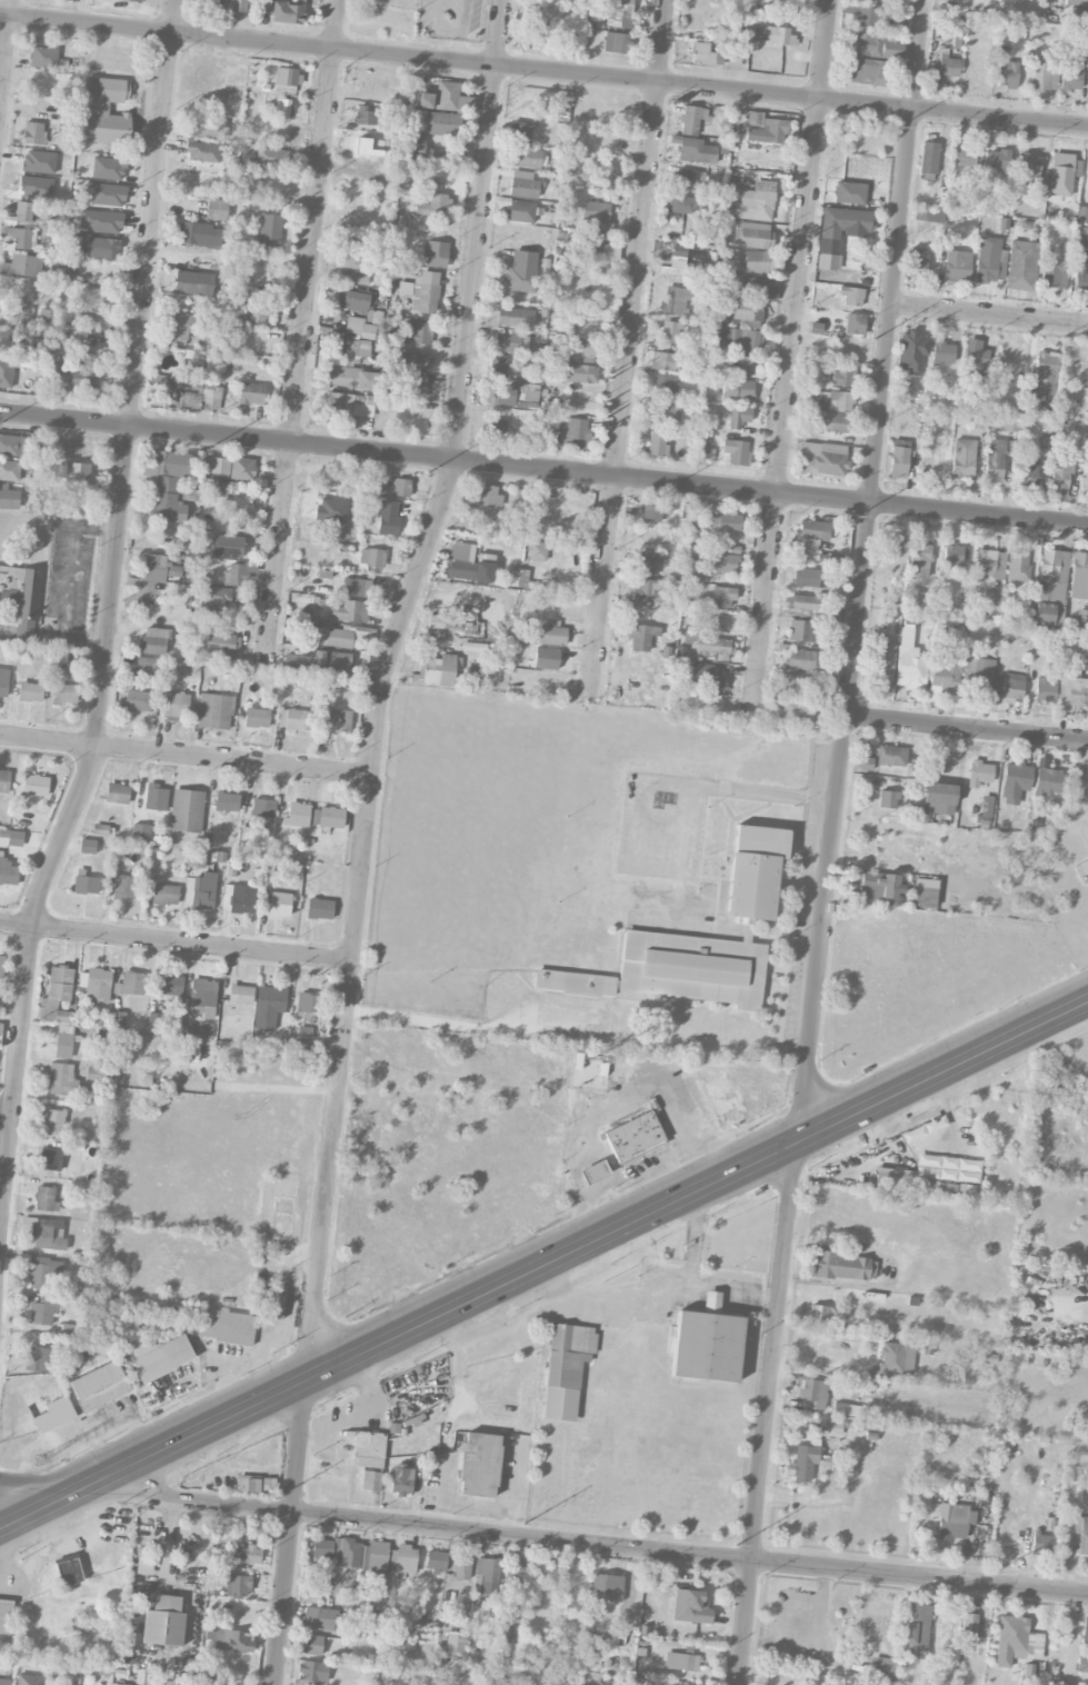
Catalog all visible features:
building: (128, 0)
building: (1076, 2)
building: (214, 3)
building: (237, 6)
building: (782, 10)
building: (287, 13)
building: (617, 13)
building: (867, 19)
building: (538, 34)
building: (777, 37)
road: (4, 42)
building: (615, 43)
building: (876, 47)
building: (703, 54)
building: (42, 59)
building: (947, 68)
road: (543, 71)
building: (868, 72)
building: (1007, 74)
building: (1071, 74)
building: (1042, 76)
building: (285, 80)
building: (451, 99)
building: (422, 101)
building: (281, 110)
building: (102, 111)
building: (363, 116)
building: (691, 120)
power tower: (894, 122)
building: (442, 124)
building: (767, 127)
building: (208, 129)
building: (33, 133)
building: (519, 133)
building: (411, 148)
building: (695, 151)
building: (201, 152)
building: (528, 158)
building: (967, 158)
building: (928, 159)
building: (997, 159)
building: (270, 160)
building: (1027, 169)
building: (1062, 175)
building: (599, 177)
building: (687, 180)
building: (522, 186)
building: (1087, 192)
building: (849, 193)
building: (758, 202)
building: (681, 205)
building: (433, 206)
building: (216, 210)
building: (24, 212)
building: (519, 212)
building: (595, 212)
building: (1081, 215)
building: (927, 216)
building: (840, 228)
building: (269, 230)
building: (198, 235)
building: (753, 236)
building: (23, 239)
building: (1081, 239)
building: (72, 245)
building: (598, 248)
building: (101, 249)
building: (352, 255)
building: (435, 255)
building: (989, 261)
building: (760, 262)
building: (916, 263)
building: (1020, 266)
building: (22, 267)
building: (956, 267)
building: (521, 273)
building: (1054, 275)
building: (1080, 279)
building: (352, 280)
building: (192, 283)
building: (405, 289)
building: (758, 289)
building: (425, 292)
building: (851, 297)
building: (96, 298)
building: (673, 300)
building: (353, 301)
building: (743, 312)
building: (258, 316)
road: (989, 317)
building: (18, 318)
building: (508, 318)
building: (46, 319)
building: (86, 320)
building: (854, 325)
building: (178, 328)
building: (359, 328)
road: (299, 332)
building: (416, 332)
building: (669, 332)
power tower: (872, 335)
building: (738, 340)
building: (506, 342)
building: (357, 349)
road: (627, 349)
building: (580, 351)
building: (911, 351)
building: (942, 352)
road: (788, 358)
building: (974, 358)
building: (415, 362)
building: (663, 362)
building: (748, 366)
building: (497, 368)
building: (56, 371)
building: (6, 373)
building: (579, 373)
building: (1044, 373)
building: (844, 376)
building: (83, 377)
building: (351, 378)
building: (418, 385)
building: (663, 386)
building: (737, 390)
building: (191, 391)
building: (250, 393)
building: (512, 395)
building: (839, 401)
building: (348, 406)
building: (665, 412)
building: (738, 417)
building: (835, 423)
building: (1010, 423)
building: (1045, 429)
building: (492, 430)
building: (572, 433)
building: (657, 445)
building: (10, 446)
building: (36, 450)
power tower: (207, 451)
building: (735, 452)
building: (820, 459)
building: (898, 459)
building: (962, 459)
building: (996, 459)
building: (170, 465)
building: (218, 466)
building: (927, 466)
building: (241, 469)
building: (9, 470)
road: (543, 471)
power tower: (429, 472)
building: (1028, 473)
building: (82, 477)
building: (1059, 479)
building: (397, 488)
building: (191, 496)
power tower: (655, 496)
building: (488, 497)
building: (8, 498)
building: (166, 501)
building: (655, 510)
building: (683, 511)
power tower: (855, 516)
building: (387, 518)
building: (721, 522)
building: (812, 530)
building: (803, 545)
building: (890, 545)
building: (226, 547)
building: (537, 551)
building: (951, 557)
building: (371, 558)
building: (921, 559)
building: (726, 561)
building: (647, 564)
building: (467, 566)
building: (988, 566)
building: (1017, 567)
building: (154, 568)
road: (860, 569)
building: (238, 574)
building: (517, 578)
building: (805, 578)
building: (1079, 578)
building: (358, 588)
building: (1050, 588)
building: (648, 591)
building: (216, 597)
building: (807, 604)
road: (108, 609)
building: (346, 611)
building: (1081, 620)
building: (952, 625)
building: (456, 628)
building: (801, 631)
building: (550, 636)
building: (641, 637)
building: (337, 638)
building: (153, 641)
building: (222, 644)
building: (470, 647)
building: (711, 648)
building: (545, 659)
building: (798, 660)
building: (302, 664)
building: (337, 664)
building: (882, 664)
building: (908, 664)
building: (147, 667)
building: (438, 670)
building: (978, 671)
building: (479, 674)
building: (707, 677)
building: (941, 680)
building: (3, 682)
building: (789, 685)
building: (1011, 688)
building: (1071, 690)
building: (1044, 691)
building: (29, 692)
building: (64, 694)
building: (137, 701)
building: (177, 705)
building: (796, 710)
building: (213, 711)
building: (256, 718)
building: (297, 720)
building: (338, 721)
road: (967, 729)
road: (183, 756)
building: (890, 756)
building: (865, 764)
building: (979, 774)
building: (1015, 780)
building: (3, 781)
building: (1047, 782)
building: (34, 786)
building: (117, 794)
building: (154, 798)
building: (887, 799)
building: (938, 799)
building: (226, 802)
building: (986, 807)
building: (262, 809)
building: (186, 811)
road: (689, 811)
building: (297, 815)
building: (328, 818)
building: (101, 830)
building: (139, 832)
road: (362, 837)
building: (12, 838)
building: (86, 846)
building: (196, 860)
building: (753, 871)
building: (8, 874)
building: (84, 884)
building: (123, 888)
building: (878, 889)
building: (202, 894)
building: (164, 895)
building: (924, 896)
building: (241, 899)
building: (279, 905)
building: (318, 909)
road: (174, 944)
building: (1, 966)
building: (692, 968)
building: (573, 984)
building: (94, 985)
building: (129, 985)
building: (169, 988)
building: (57, 995)
building: (202, 995)
building: (240, 995)
building: (308, 1006)
building: (268, 1007)
building: (153, 1021)
road: (470, 1026)
building: (203, 1029)
building: (303, 1033)
building: (62, 1046)
building: (184, 1055)
building: (94, 1075)
building: (61, 1080)
road: (6, 1110)
building: (52, 1123)
building: (924, 1129)
building: (632, 1136)
building: (50, 1158)
building: (947, 1169)
building: (592, 1171)
building: (894, 1178)
building: (44, 1200)
building: (48, 1235)
road: (583, 1245)
road: (690, 1262)
building: (842, 1267)
building: (42, 1273)
road: (568, 1302)
building: (270, 1305)
building: (41, 1312)
building: (818, 1316)
building: (227, 1327)
building: (705, 1344)
building: (157, 1356)
building: (896, 1358)
building: (37, 1359)
building: (565, 1369)
building: (99, 1387)
building: (812, 1395)
building: (845, 1410)
road: (766, 1412)
building: (53, 1415)
building: (827, 1426)
road: (80, 1434)
building: (368, 1449)
road: (83, 1459)
power tower: (38, 1460)
building: (802, 1464)
building: (478, 1465)
building: (370, 1482)
building: (400, 1482)
building: (247, 1484)
road: (39, 1485)
building: (267, 1485)
power tower: (275, 1498)
road: (39, 1508)
building: (954, 1522)
power tower: (523, 1524)
building: (1081, 1534)
road: (167, 1544)
road: (582, 1544)
power tower: (736, 1545)
building: (1041, 1545)
building: (321, 1548)
building: (347, 1553)
building: (247, 1555)
building: (376, 1559)
building: (401, 1562)
building: (435, 1562)
building: (143, 1566)
building: (460, 1567)
building: (68, 1571)
power tower: (995, 1572)
building: (486, 1577)
building: (236, 1586)
building: (377, 1586)
building: (606, 1588)
building: (689, 1607)
road: (821, 1612)
building: (6, 1616)
building: (323, 1619)
building: (163, 1622)
building: (968, 1626)
building: (380, 1628)
building: (915, 1633)
building: (1085, 1633)
building: (233, 1641)
building: (1016, 1642)
building: (455, 1643)
building: (311, 1645)
building: (884, 1668)
building: (312, 1672)
building: (28, 1681)
building: (4, 1682)
building: (886, 1683)
building: (110, 1684)

